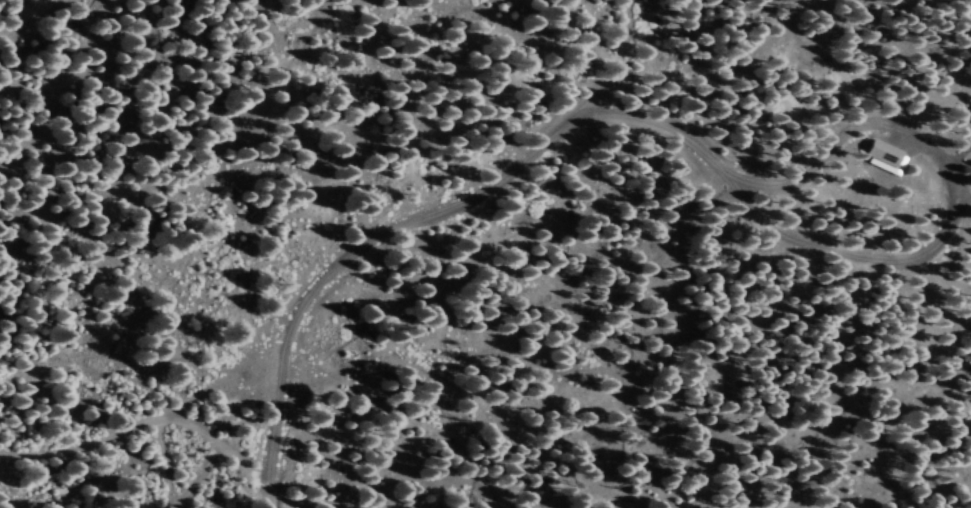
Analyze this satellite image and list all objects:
building: (888, 155)
road: (432, 228)
road: (221, 426)
road: (150, 442)
road: (295, 498)

